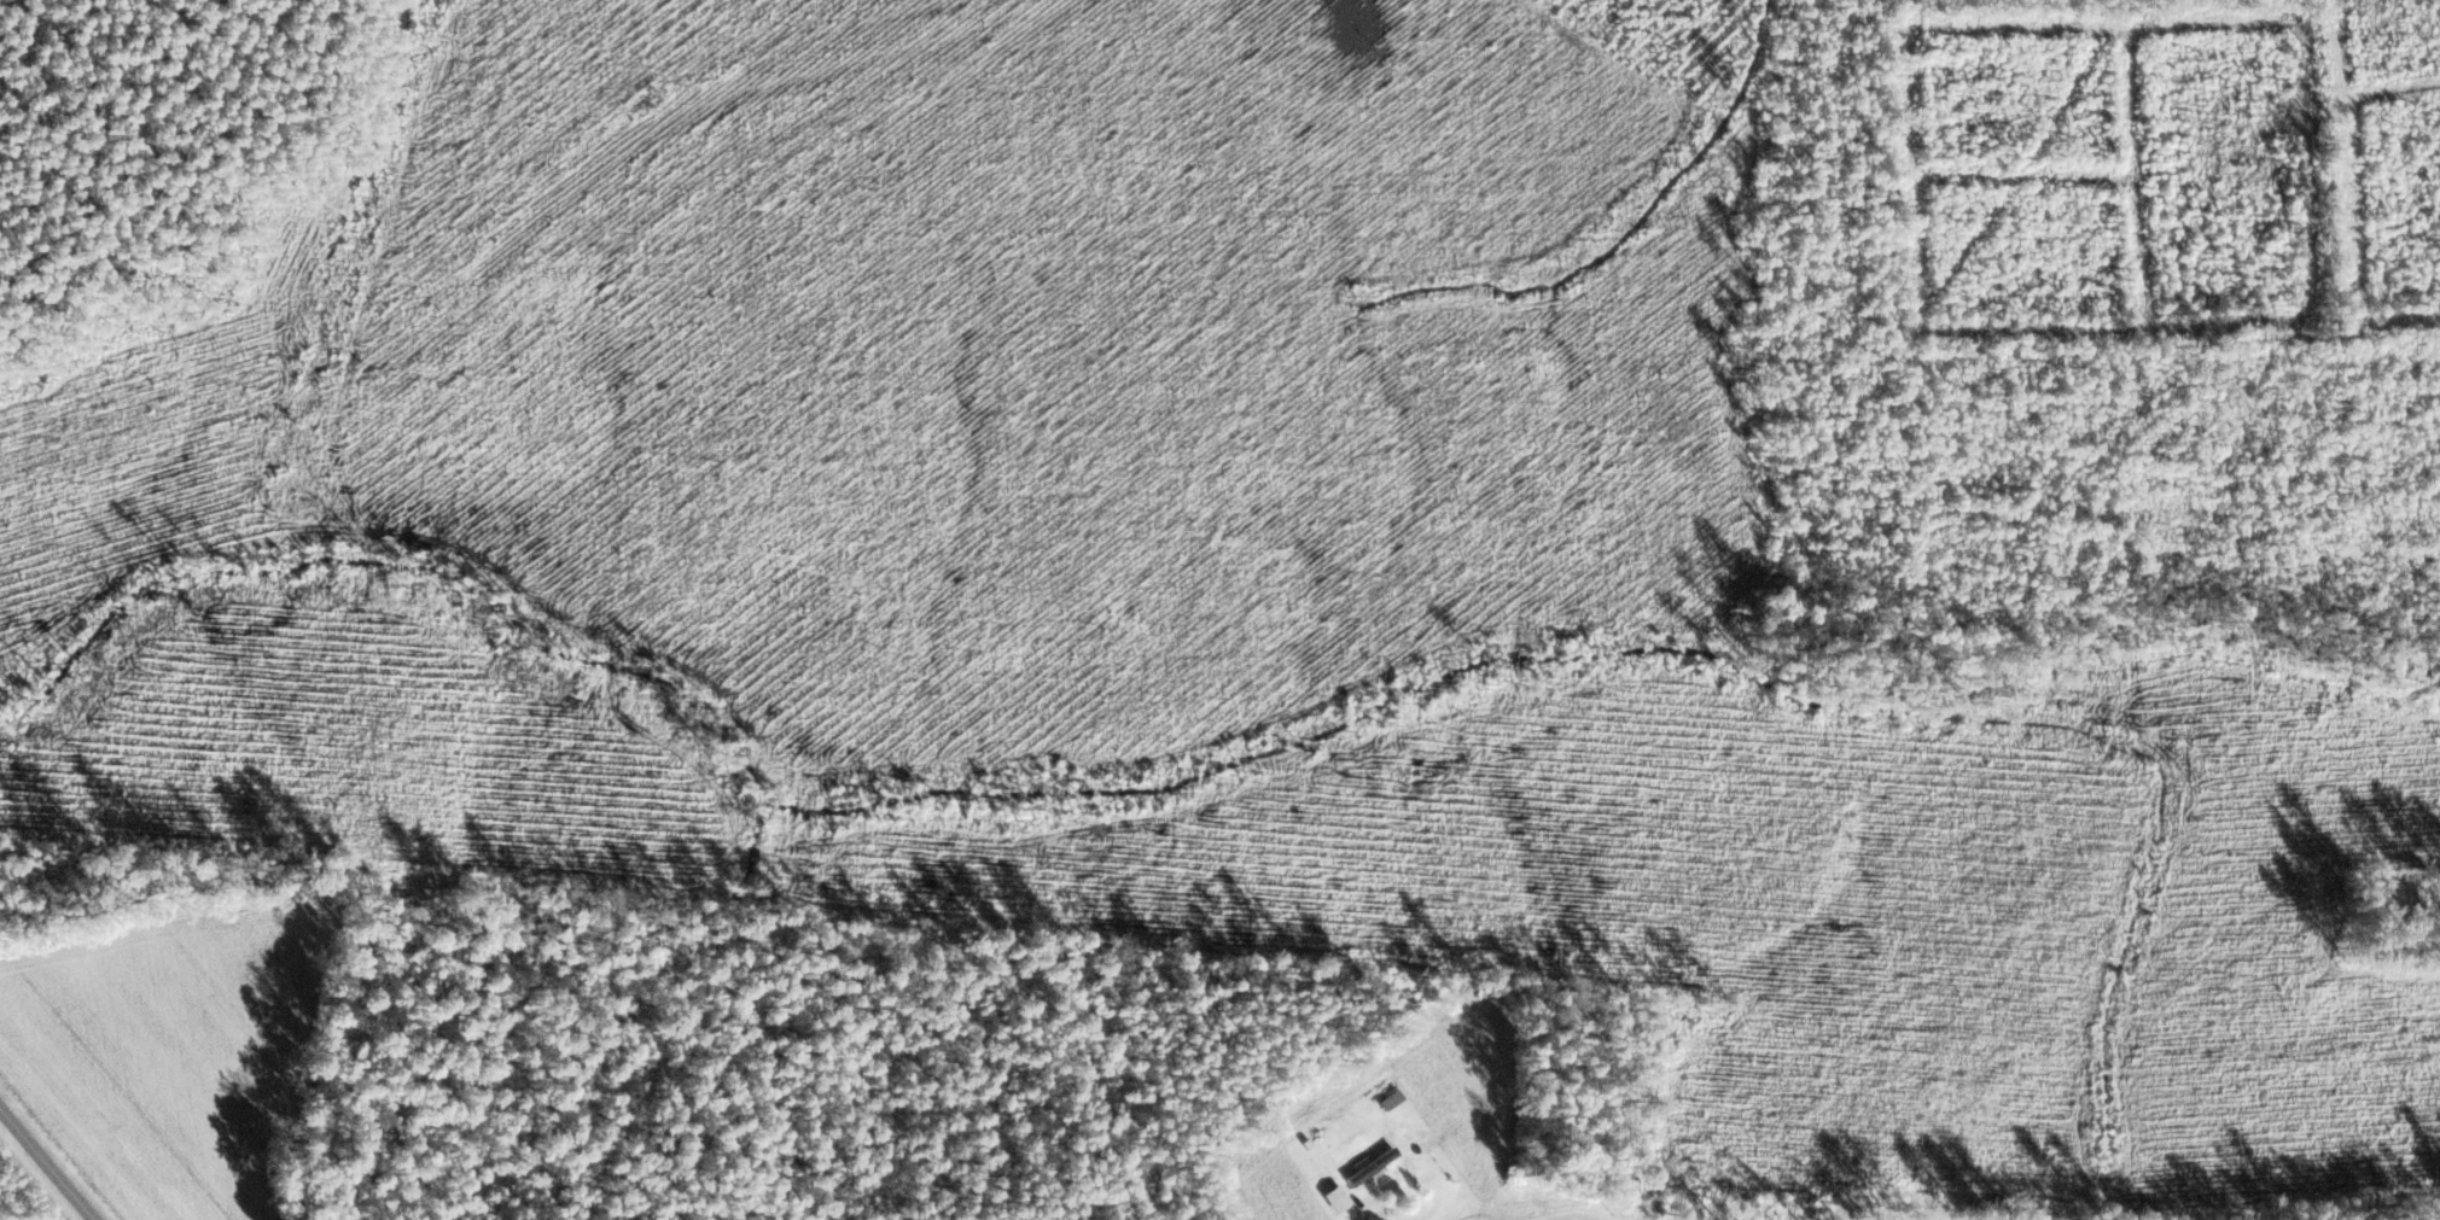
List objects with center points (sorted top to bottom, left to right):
park: (2401, 906)
building: (1391, 1102)
road: (47, 1163)
building: (1372, 1168)

